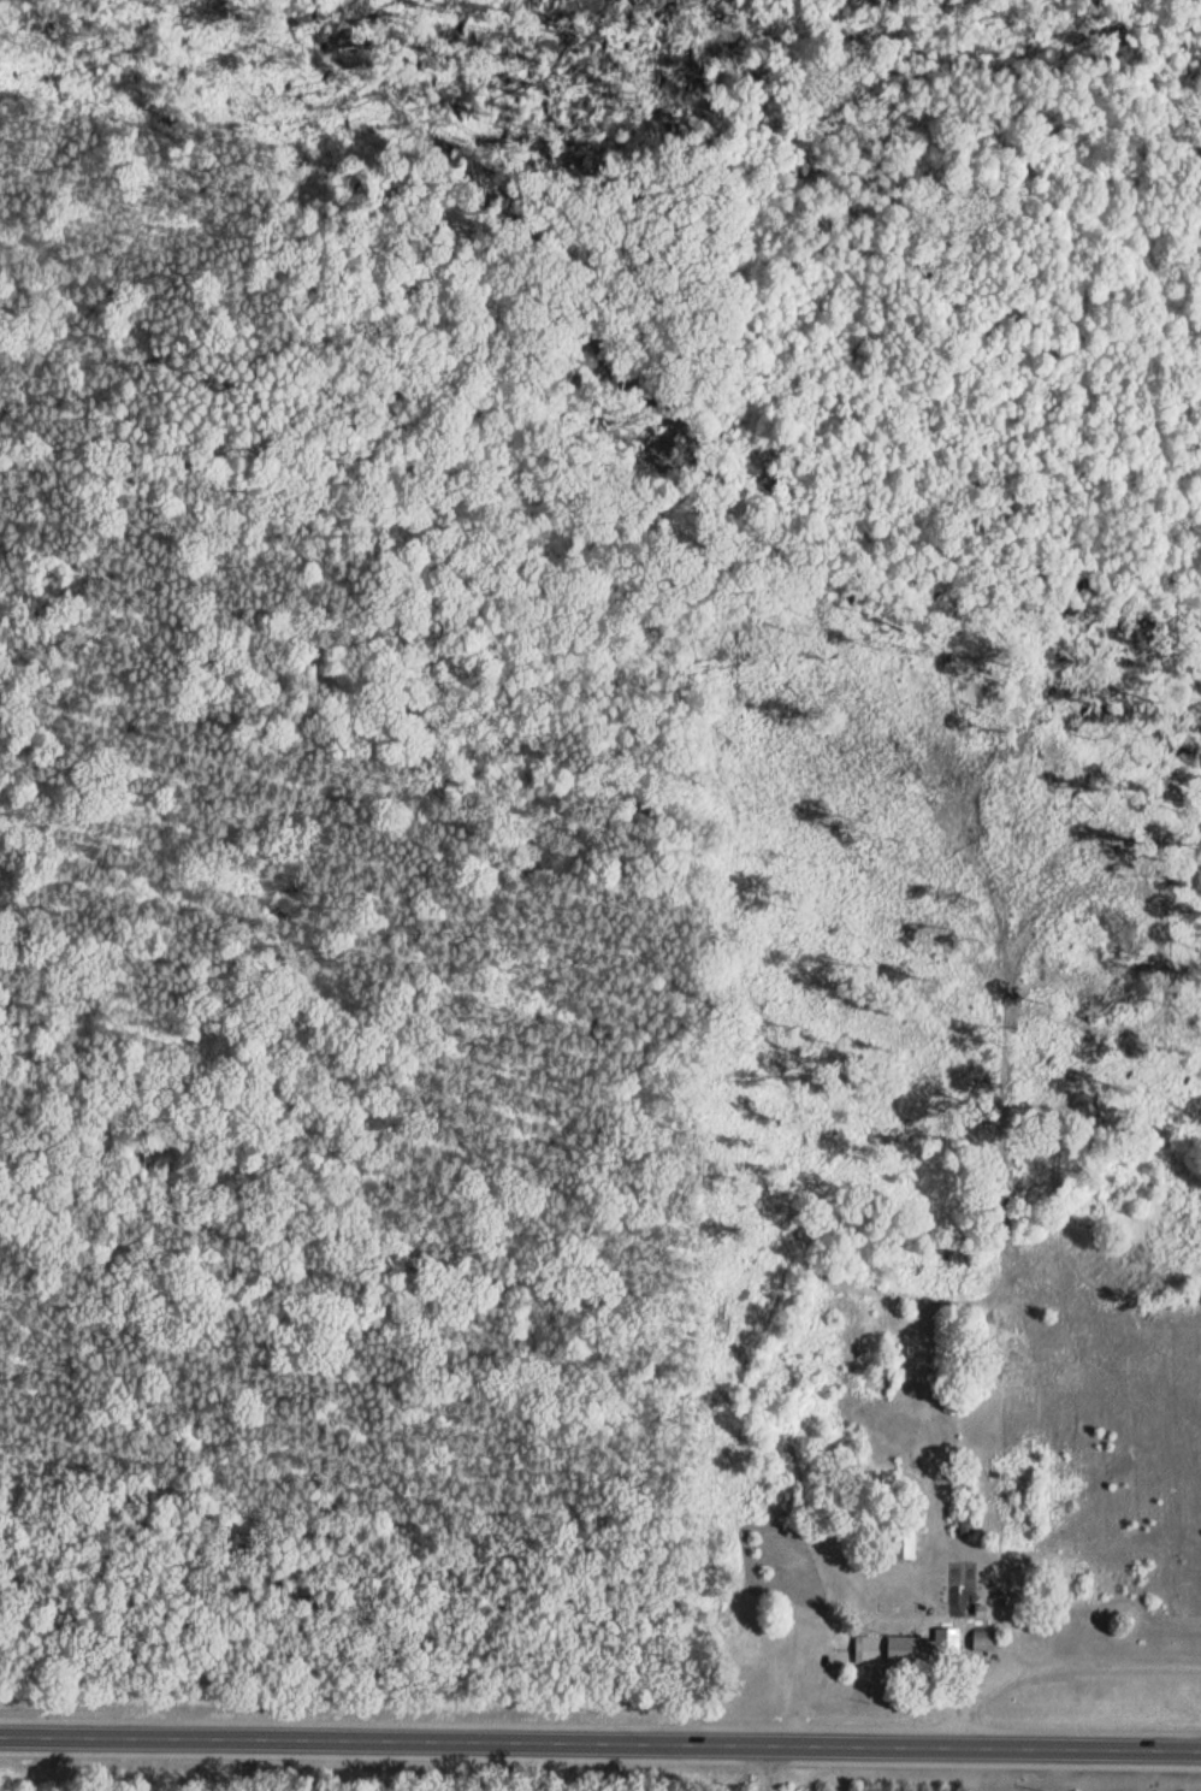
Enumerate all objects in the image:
building: (906, 1544)
building: (987, 1639)
building: (874, 1648)
building: (928, 1650)
road: (1043, 1657)
road: (599, 1740)

